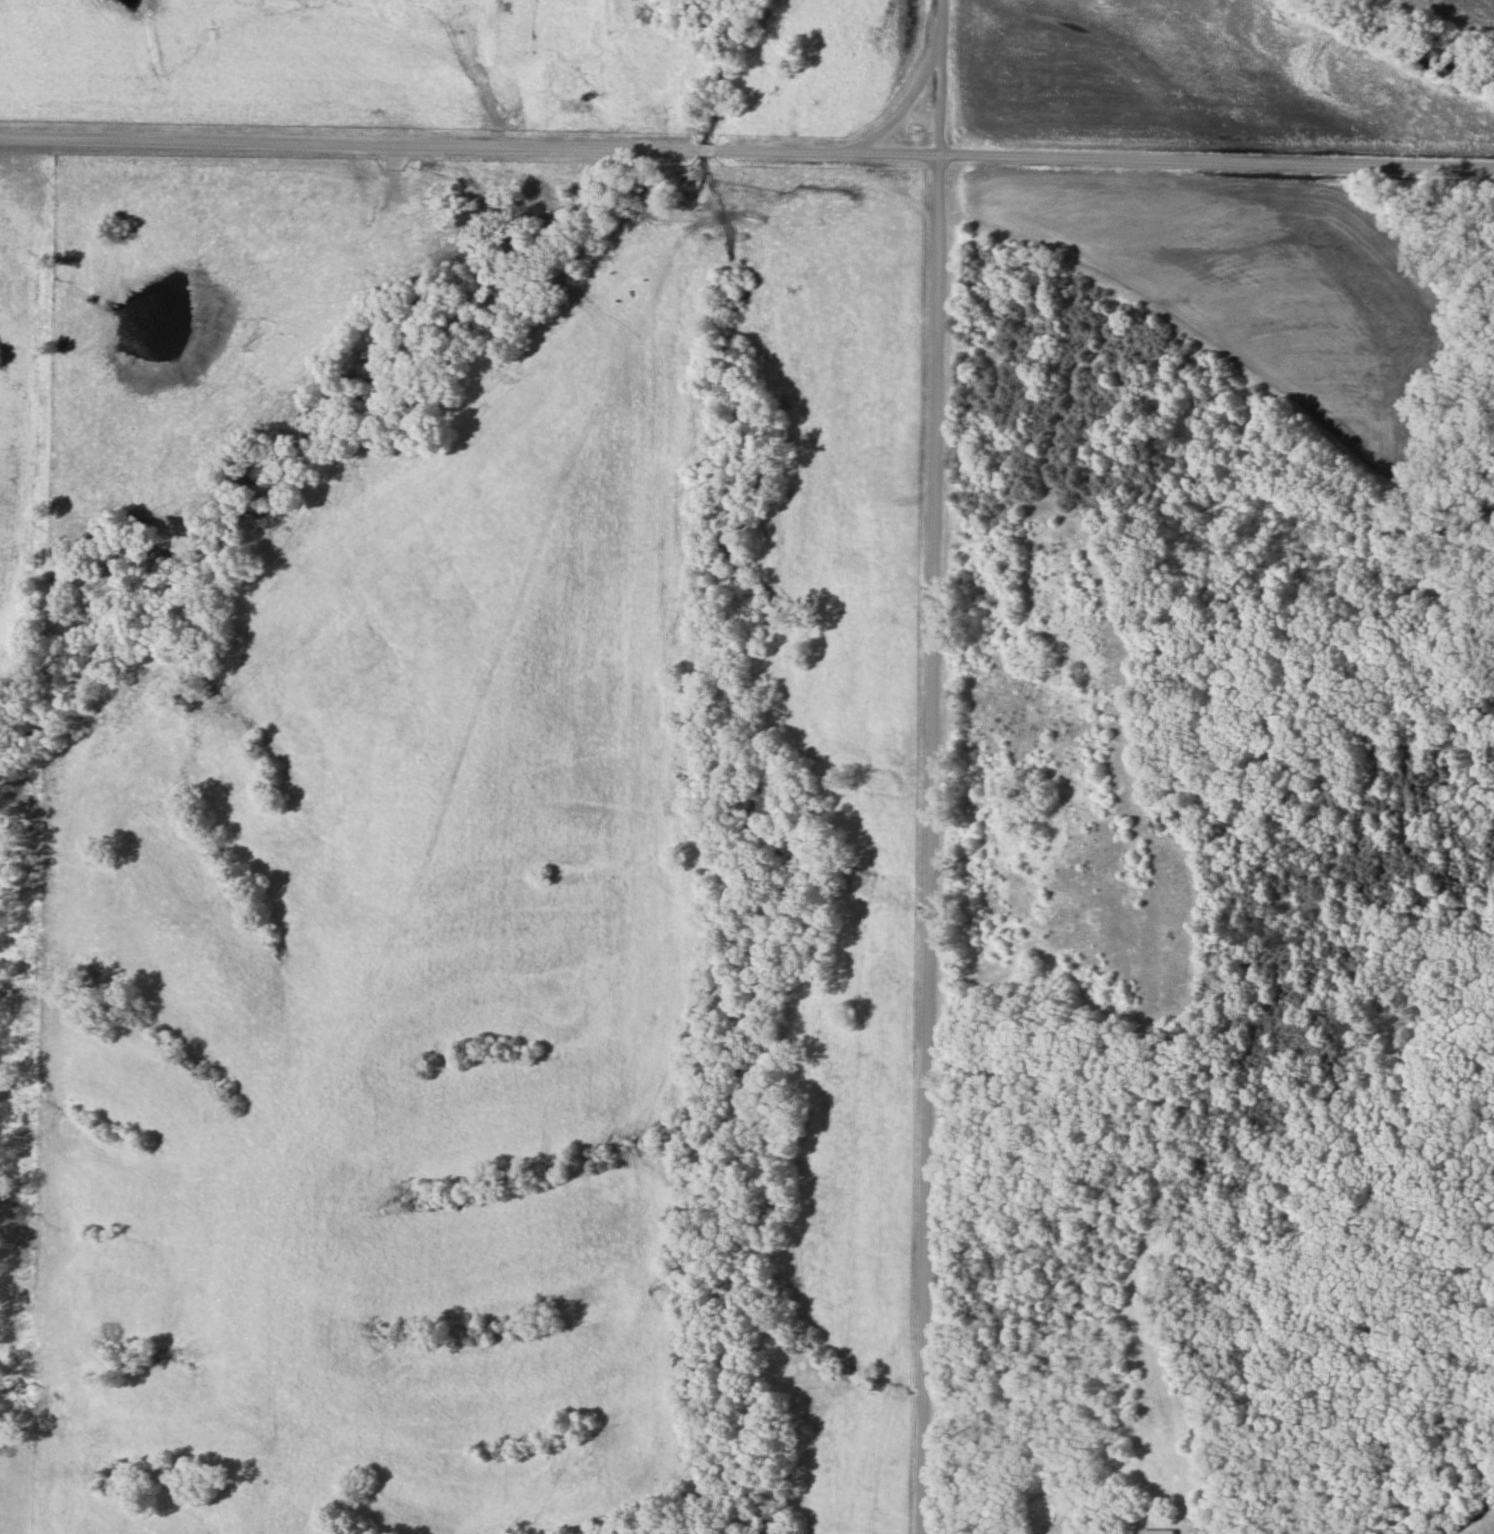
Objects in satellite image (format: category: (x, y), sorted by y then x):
road: (904, 107)
road: (747, 151)
road: (932, 767)
building: (1156, 1531)

